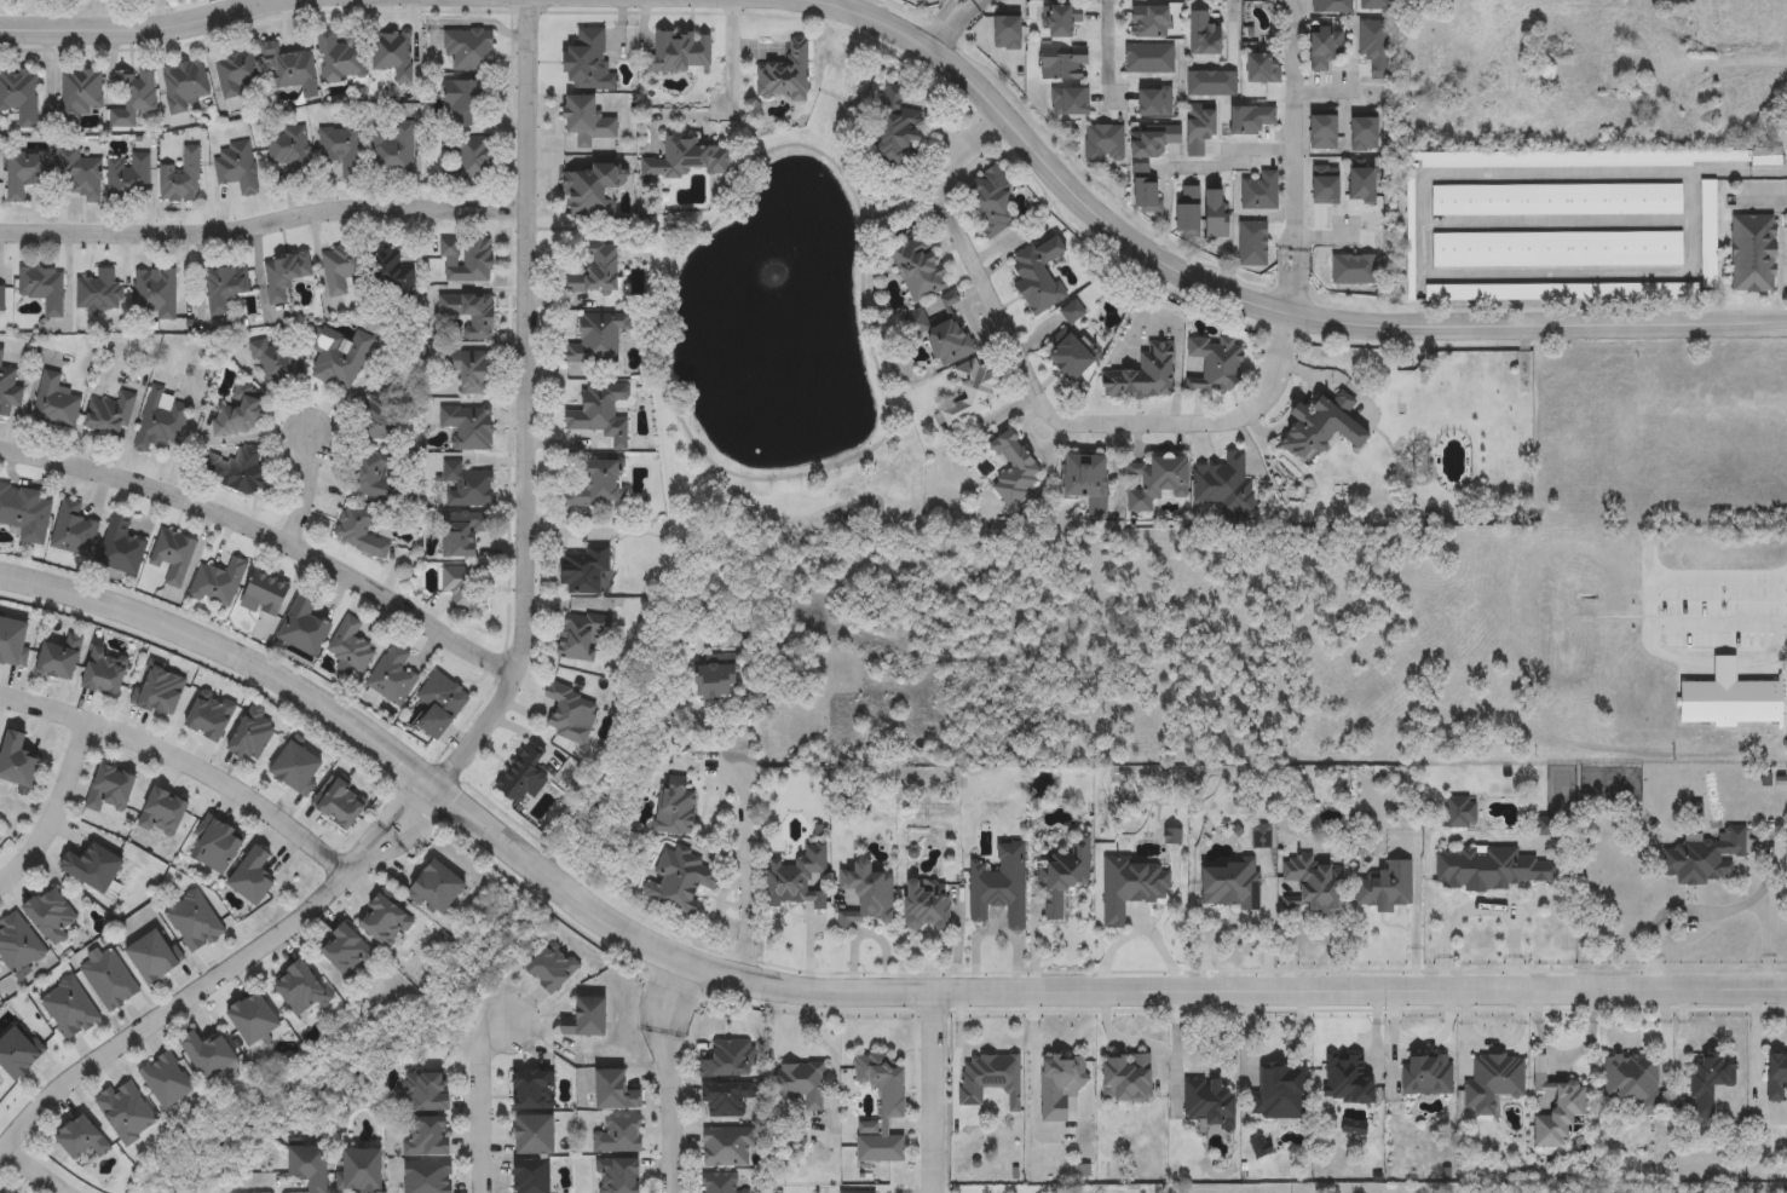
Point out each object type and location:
road: (838, 0)
road: (260, 1)
road: (951, 22)
building: (1061, 22)
building: (1151, 22)
road: (146, 27)
building: (1205, 35)
road: (1109, 39)
building: (1327, 47)
building: (1630, 48)
building: (469, 51)
road: (738, 51)
building: (681, 52)
building: (392, 54)
building: (340, 59)
road: (1714, 60)
building: (588, 62)
building: (1066, 64)
building: (290, 69)
building: (1266, 69)
building: (237, 73)
building: (785, 76)
building: (1452, 77)
building: (185, 85)
road: (1325, 90)
building: (1694, 91)
building: (81, 93)
building: (19, 94)
building: (133, 98)
building: (463, 102)
building: (1253, 120)
building: (589, 121)
building: (1201, 128)
building: (899, 138)
building: (1154, 140)
building: (341, 148)
building: (289, 149)
building: (392, 151)
road: (1301, 156)
road: (1234, 157)
building: (468, 159)
building: (1593, 159)
building: (691, 160)
building: (236, 167)
building: (25, 173)
building: (85, 175)
building: (129, 178)
building: (181, 179)
building: (592, 190)
building: (1147, 191)
building: (1261, 194)
building: (1557, 200)
building: (991, 203)
road: (1765, 204)
road: (911, 209)
building: (1191, 209)
building: (1220, 214)
road: (263, 220)
road: (877, 225)
road: (610, 234)
road: (1325, 236)
building: (1707, 241)
building: (1558, 249)
building: (1412, 253)
building: (1752, 253)
building: (468, 261)
building: (920, 267)
building: (595, 269)
building: (344, 270)
building: (391, 271)
building: (1041, 275)
building: (286, 276)
building: (42, 288)
building: (225, 288)
building: (99, 290)
building: (1558, 292)
building: (155, 294)
building: (2, 298)
road: (1253, 300)
building: (949, 301)
building: (1073, 312)
building: (472, 313)
building: (598, 339)
building: (951, 339)
road: (524, 342)
building: (338, 358)
building: (1073, 358)
building: (276, 362)
park: (805, 364)
building: (1215, 365)
building: (472, 369)
building: (1146, 376)
building: (8, 388)
building: (974, 393)
road: (1039, 397)
building: (56, 404)
building: (386, 409)
building: (603, 414)
building: (240, 415)
building: (110, 416)
building: (161, 421)
building: (1325, 427)
building: (468, 428)
building: (1016, 469)
building: (237, 471)
building: (370, 476)
building: (1086, 479)
building: (1157, 482)
building: (1222, 483)
building: (598, 486)
building: (467, 488)
road: (302, 489)
building: (25, 514)
building: (361, 530)
building: (74, 531)
building: (465, 534)
road: (267, 536)
building: (121, 548)
building: (173, 557)
building: (584, 572)
building: (218, 584)
building: (466, 589)
building: (265, 596)
road: (1649, 606)
building: (304, 627)
building: (581, 638)
building: (13, 642)
building: (351, 646)
building: (59, 659)
building: (105, 674)
building: (393, 676)
building: (721, 684)
building: (160, 688)
building: (440, 705)
building: (572, 715)
building: (211, 717)
road: (471, 736)
building: (253, 737)
building: (17, 762)
building: (296, 770)
road: (181, 771)
building: (524, 778)
building: (110, 793)
building: (340, 803)
building: (675, 807)
road: (53, 808)
building: (165, 813)
building: (1462, 813)
building: (217, 847)
building: (1700, 858)
building: (93, 868)
road: (743, 869)
building: (1068, 869)
building: (1497, 870)
building: (254, 878)
building: (799, 880)
building: (680, 882)
building: (1318, 884)
building: (1233, 886)
building: (1001, 887)
building: (1132, 887)
building: (438, 889)
building: (1388, 889)
building: (867, 894)
building: (927, 904)
road: (1727, 911)
building: (53, 917)
road: (1243, 921)
building: (385, 922)
building: (194, 923)
road: (1139, 932)
road: (1313, 936)
building: (18, 945)
building: (347, 952)
building: (152, 958)
building: (553, 969)
road: (218, 975)
building: (109, 980)
building: (302, 991)
road: (836, 991)
building: (69, 1010)
building: (586, 1020)
building: (255, 1021)
road: (1134, 1041)
road: (1176, 1051)
building: (19, 1053)
building: (211, 1056)
road: (953, 1059)
building: (728, 1061)
road: (1033, 1062)
road: (665, 1073)
building: (1428, 1074)
building: (991, 1078)
building: (1128, 1078)
building: (1775, 1078)
building: (1350, 1079)
building: (167, 1082)
building: (802, 1083)
building: (1492, 1083)
building: (1707, 1083)
building: (1629, 1084)
building: (1060, 1085)
building: (532, 1091)
road: (930, 1093)
building: (1281, 1093)
building: (427, 1094)
building: (616, 1094)
building: (727, 1100)
building: (1211, 1101)
road: (480, 1102)
building: (882, 1108)
building: (1556, 1111)
building: (126, 1113)
building: (618, 1136)
building: (535, 1137)
building: (428, 1139)
building: (82, 1140)
building: (728, 1147)
building: (310, 1166)
building: (362, 1172)
road: (30, 1174)
building: (619, 1176)
building: (534, 1177)
building: (430, 1178)
building: (725, 1183)

